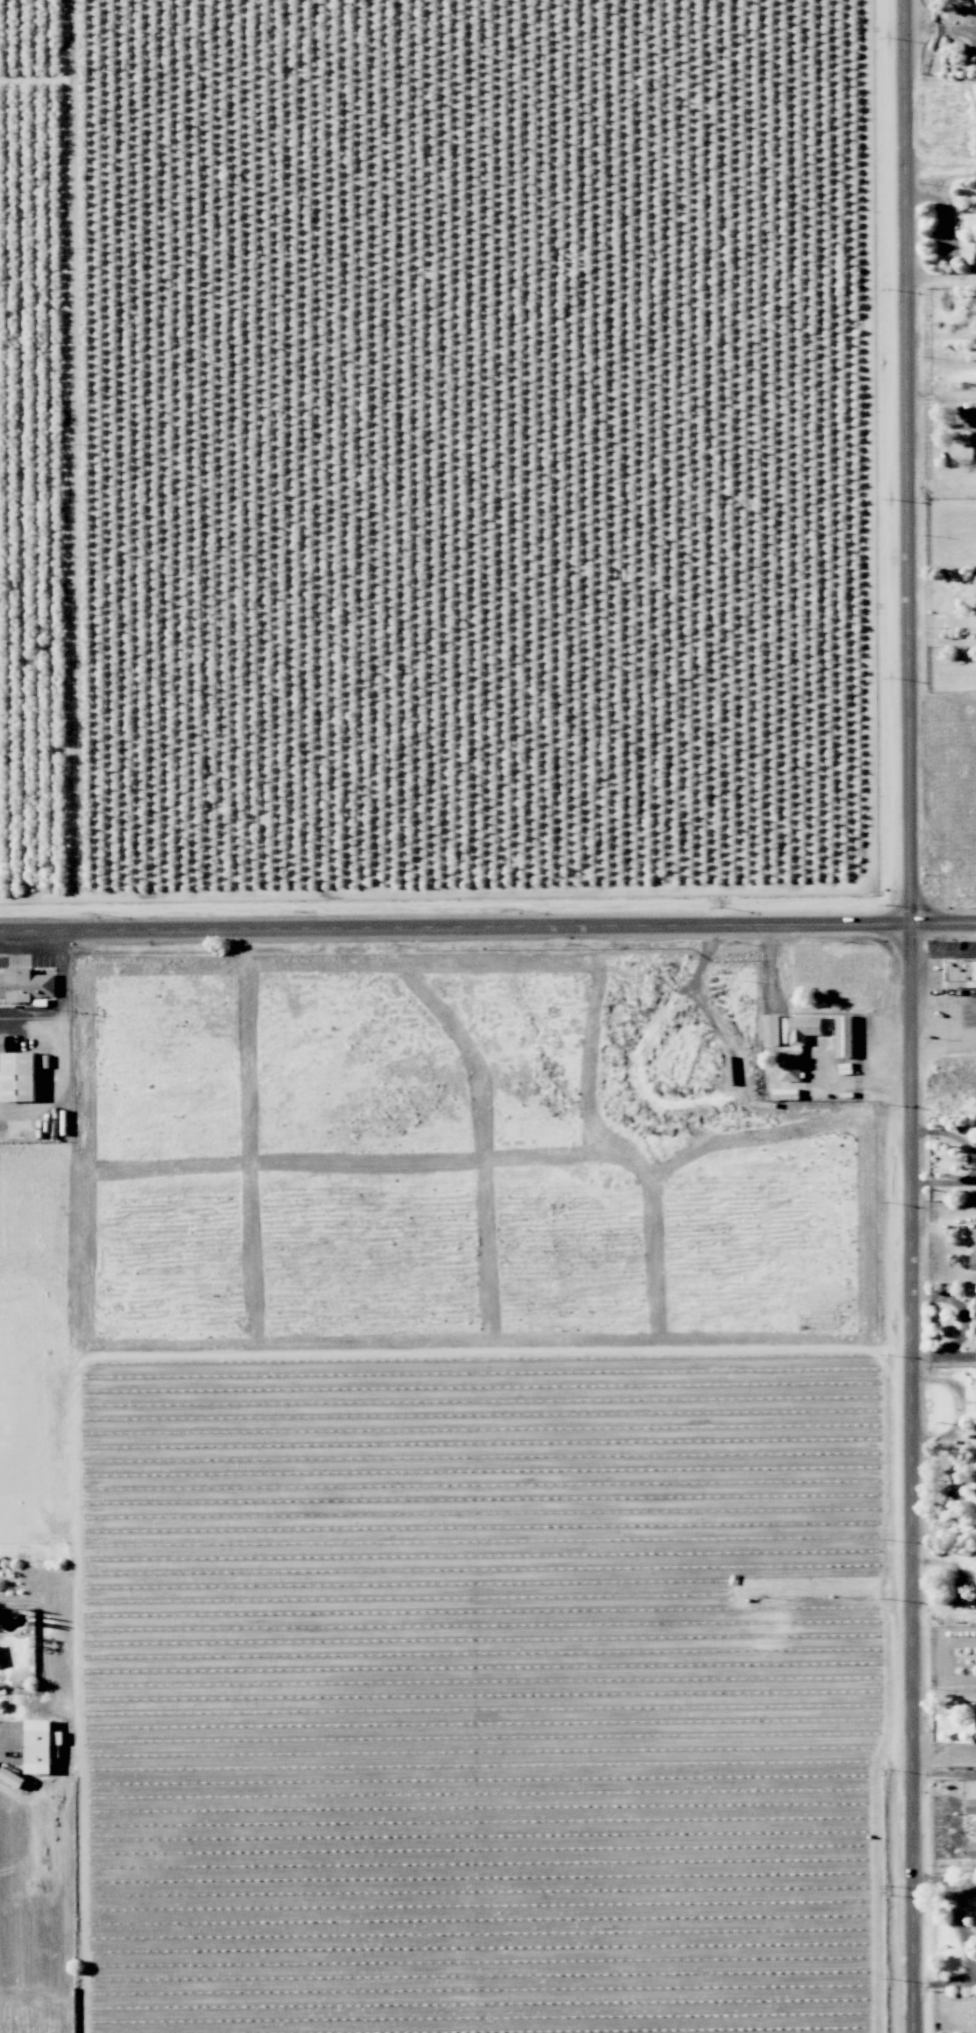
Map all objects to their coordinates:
road: (941, 27)
building: (969, 248)
road: (941, 274)
building: (972, 424)
road: (519, 927)
road: (31, 932)
road: (944, 955)
building: (961, 973)
road: (62, 1001)
road: (912, 1016)
building: (772, 1029)
building: (844, 1036)
building: (3, 1043)
building: (798, 1046)
road: (943, 1049)
building: (19, 1076)
road: (975, 1161)
building: (974, 1250)
building: (1, 1659)
road: (10, 1739)
building: (42, 1745)
road: (944, 1773)
building: (12, 1777)
building: (971, 1805)
building: (973, 1850)
road: (970, 1881)
road: (964, 1931)
road: (969, 1981)

